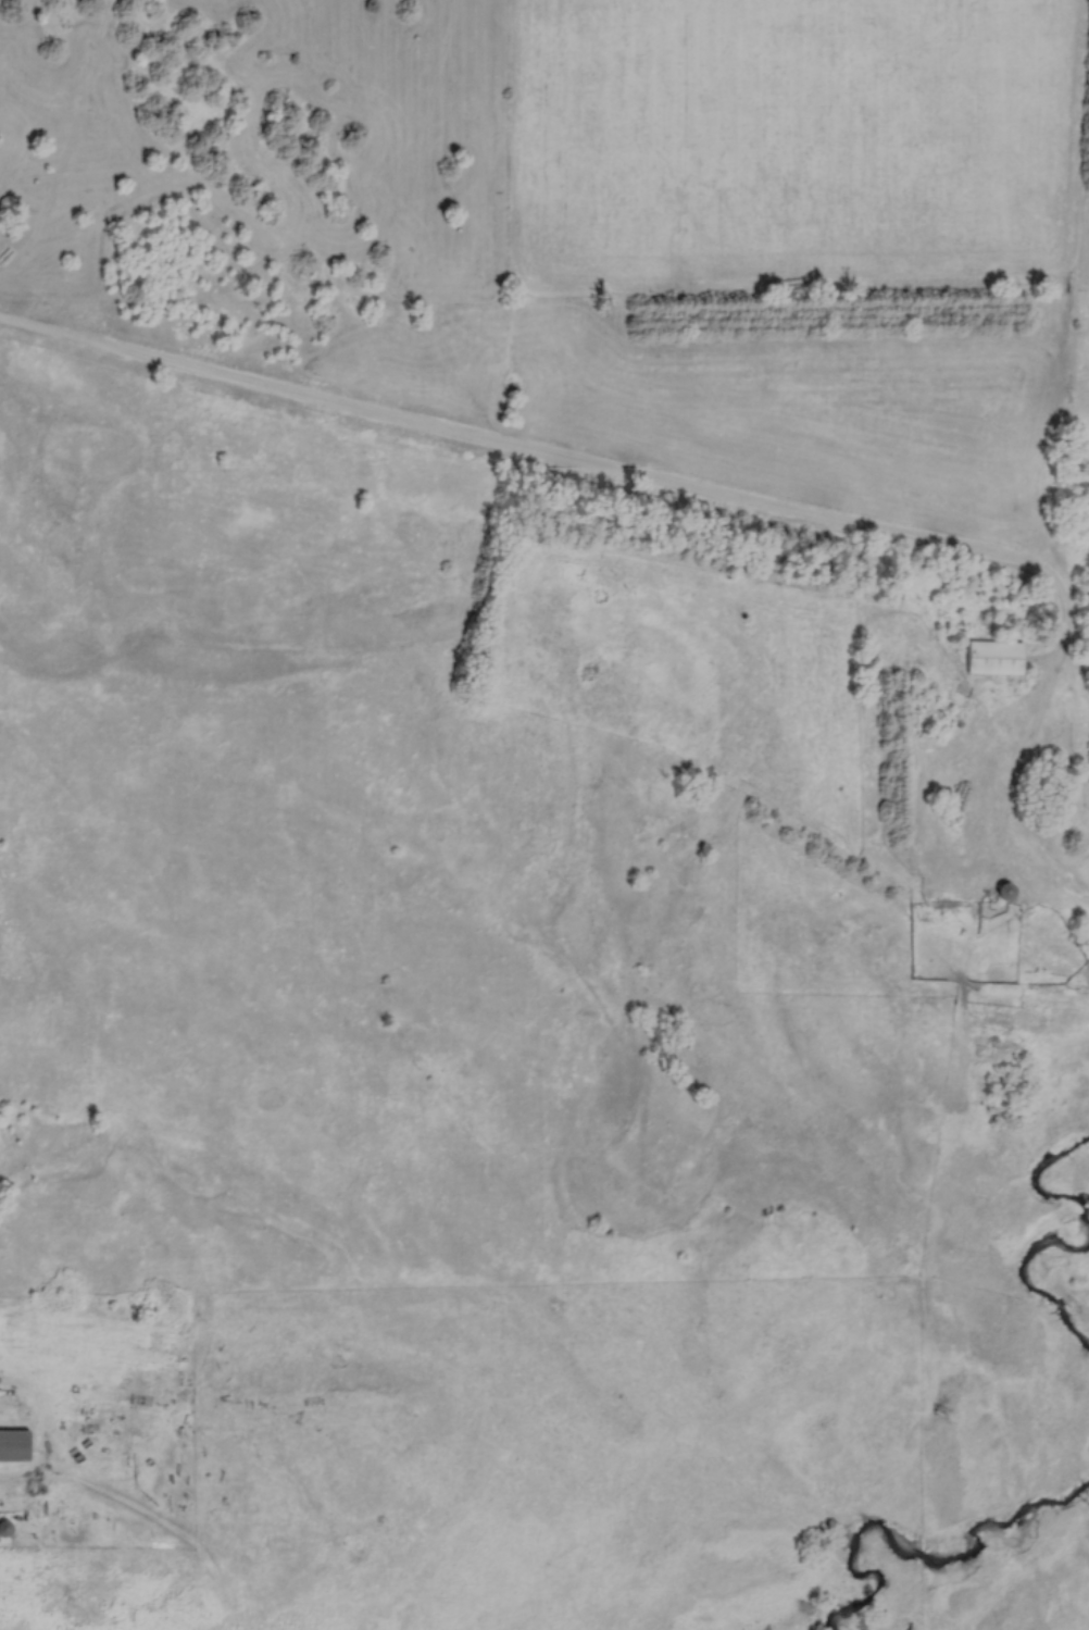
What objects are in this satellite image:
road: (524, 453)
road: (1053, 475)
building: (1002, 658)
building: (1085, 944)
building: (18, 1447)

